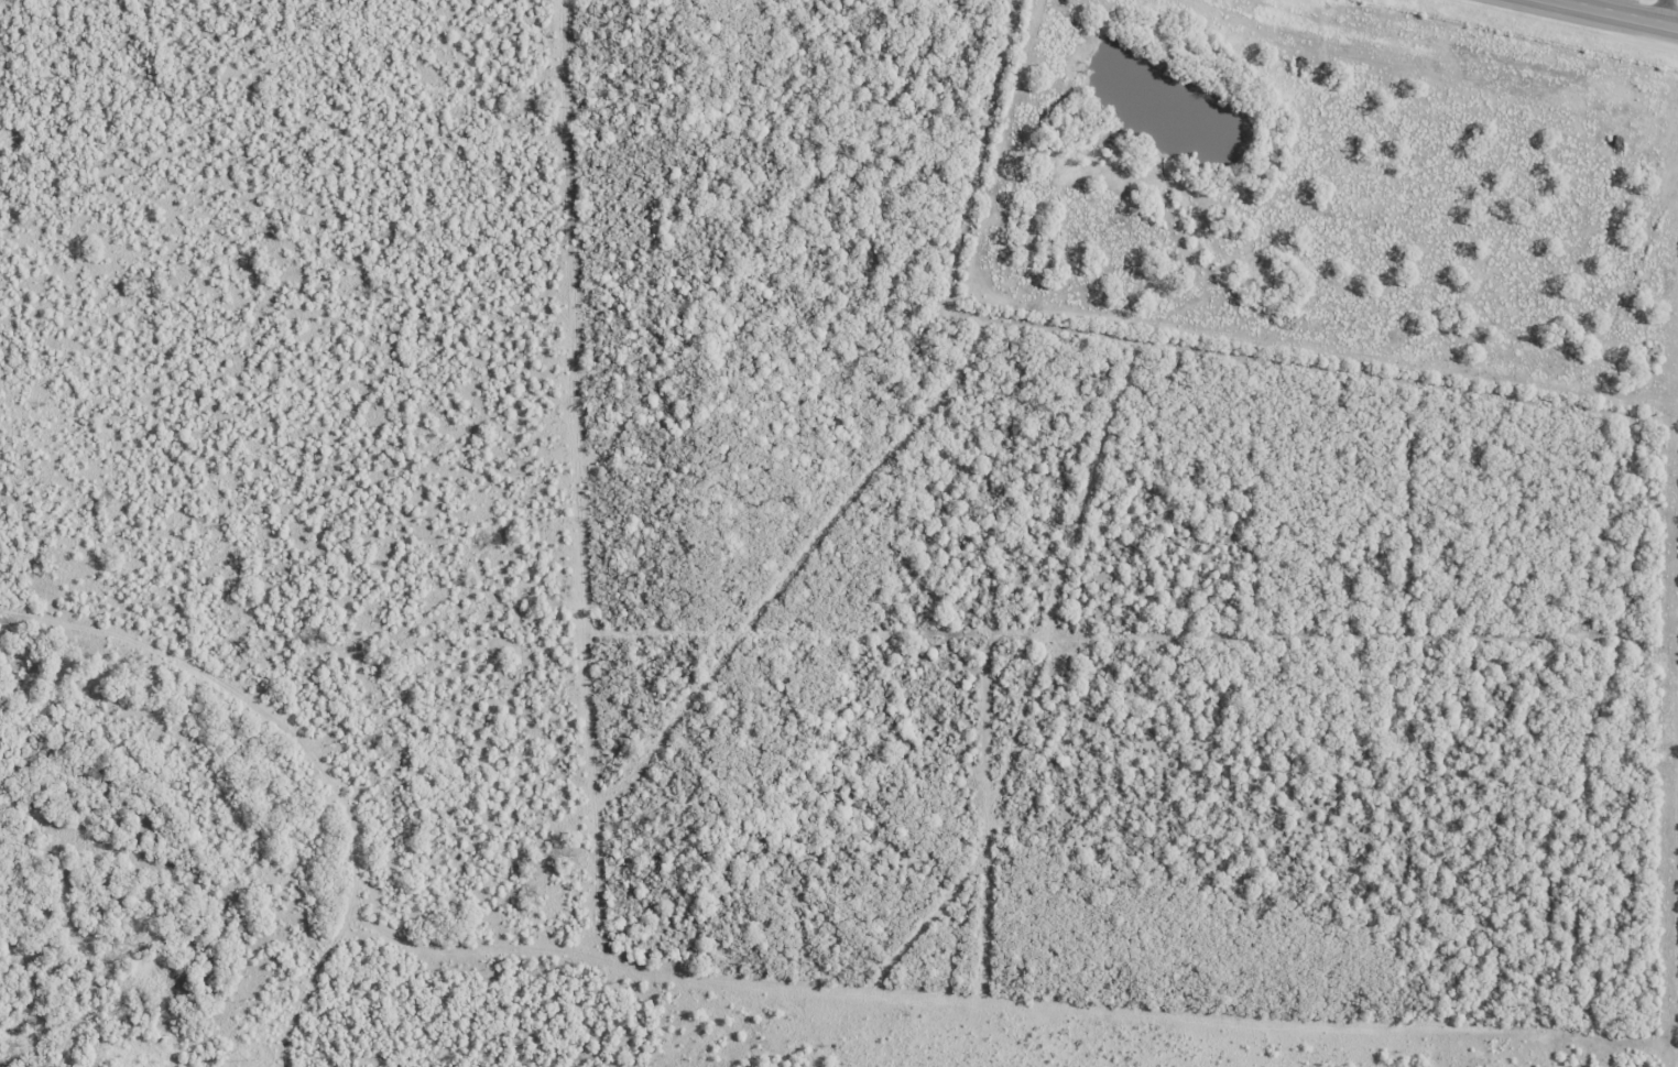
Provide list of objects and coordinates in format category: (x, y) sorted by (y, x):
road: (1672, 15)
road: (1601, 17)

